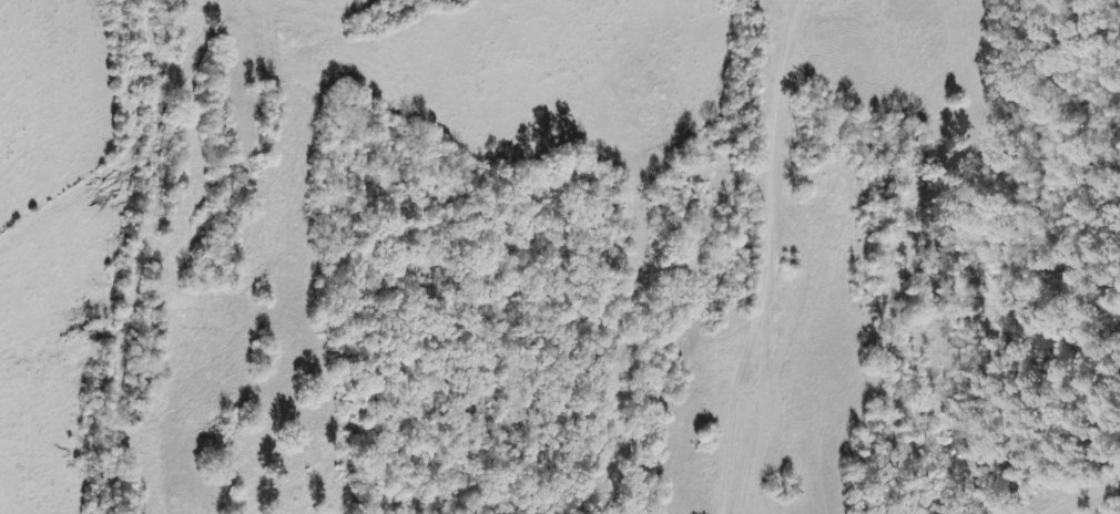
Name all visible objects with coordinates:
road: (1087, 496)

